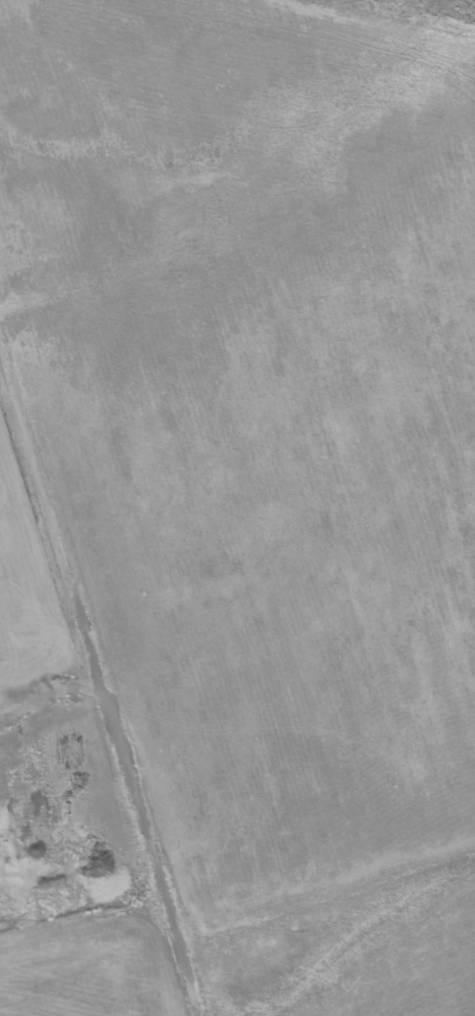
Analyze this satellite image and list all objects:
road: (104, 673)

